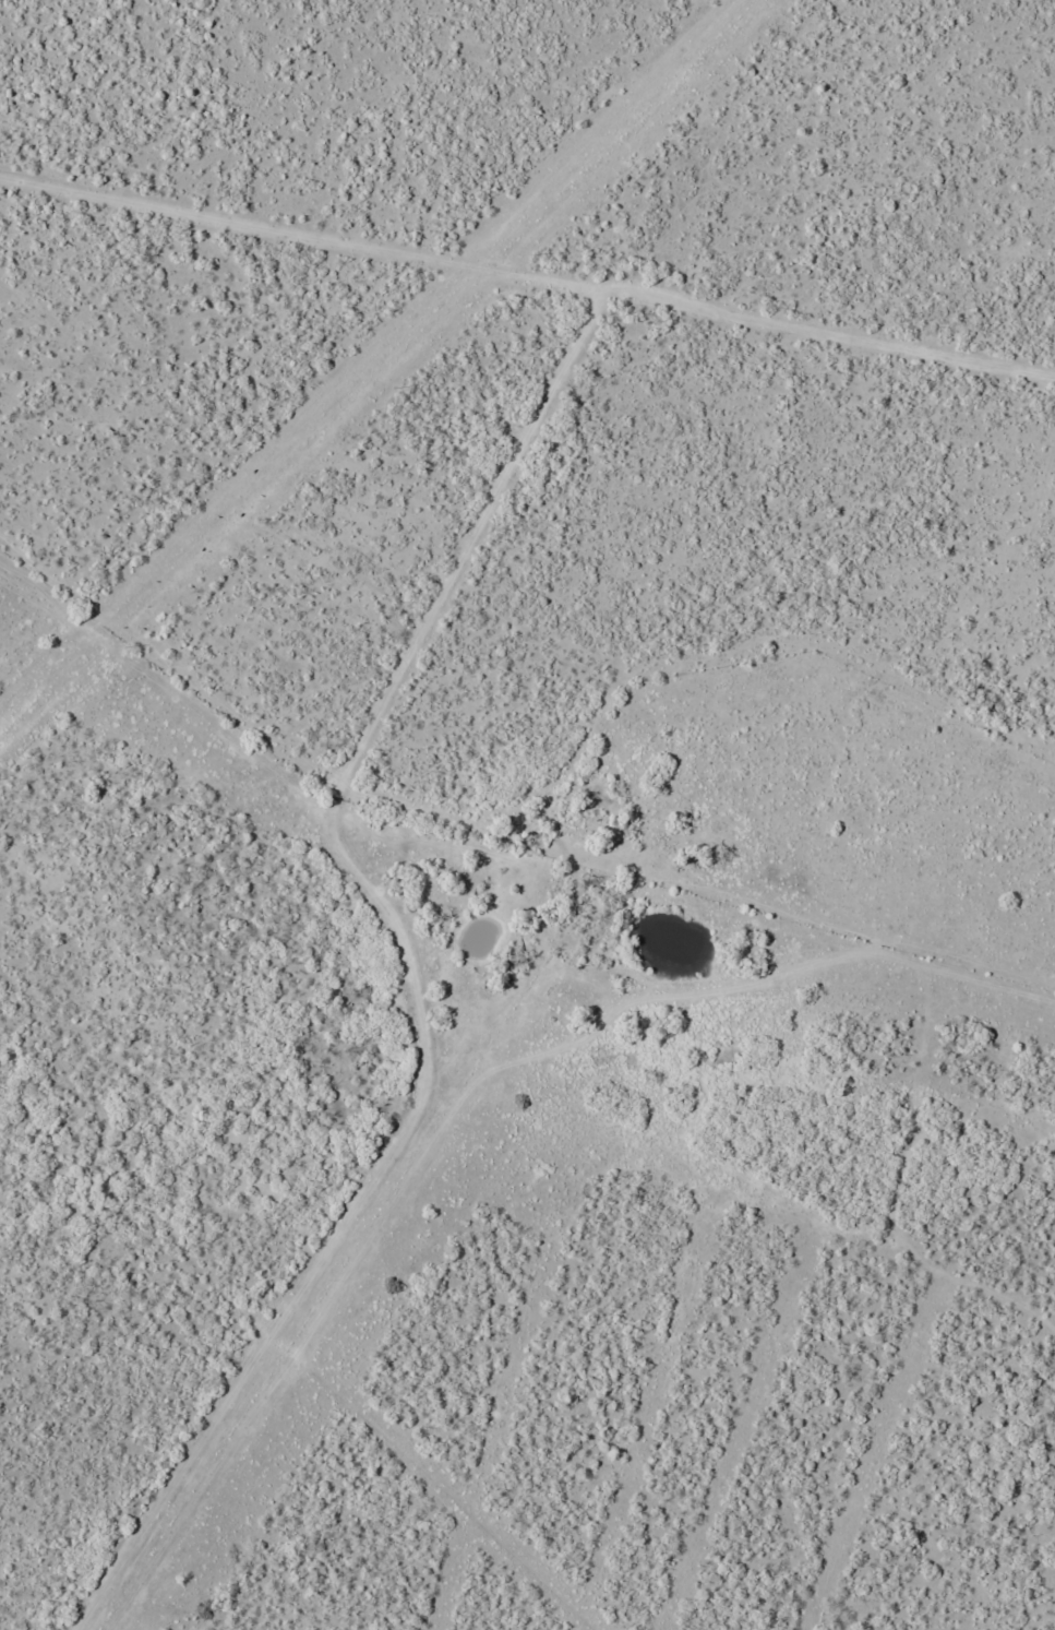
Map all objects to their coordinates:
road: (471, 852)

